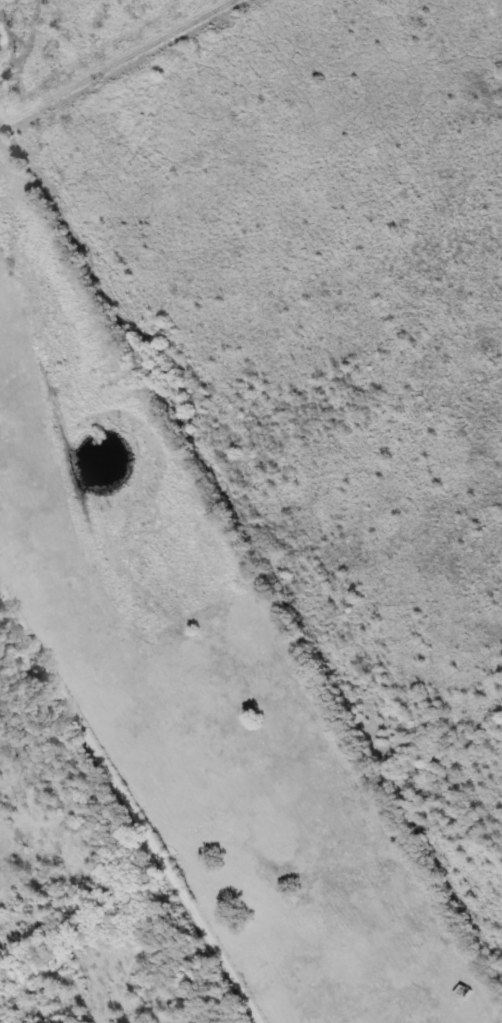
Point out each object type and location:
road: (111, 60)
road: (128, 808)
building: (462, 991)

